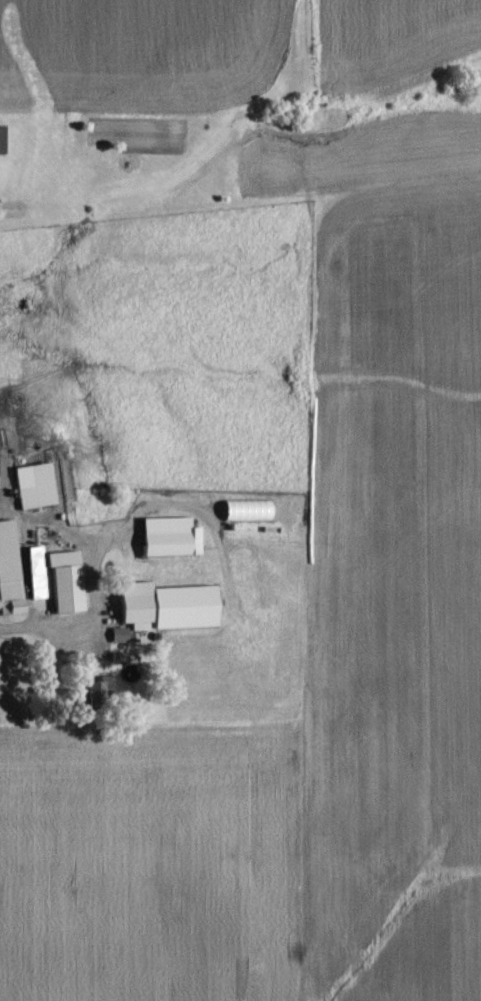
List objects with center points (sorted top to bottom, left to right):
building: (30, 485)
building: (244, 510)
building: (165, 536)
building: (55, 579)
building: (164, 605)
road: (45, 636)

